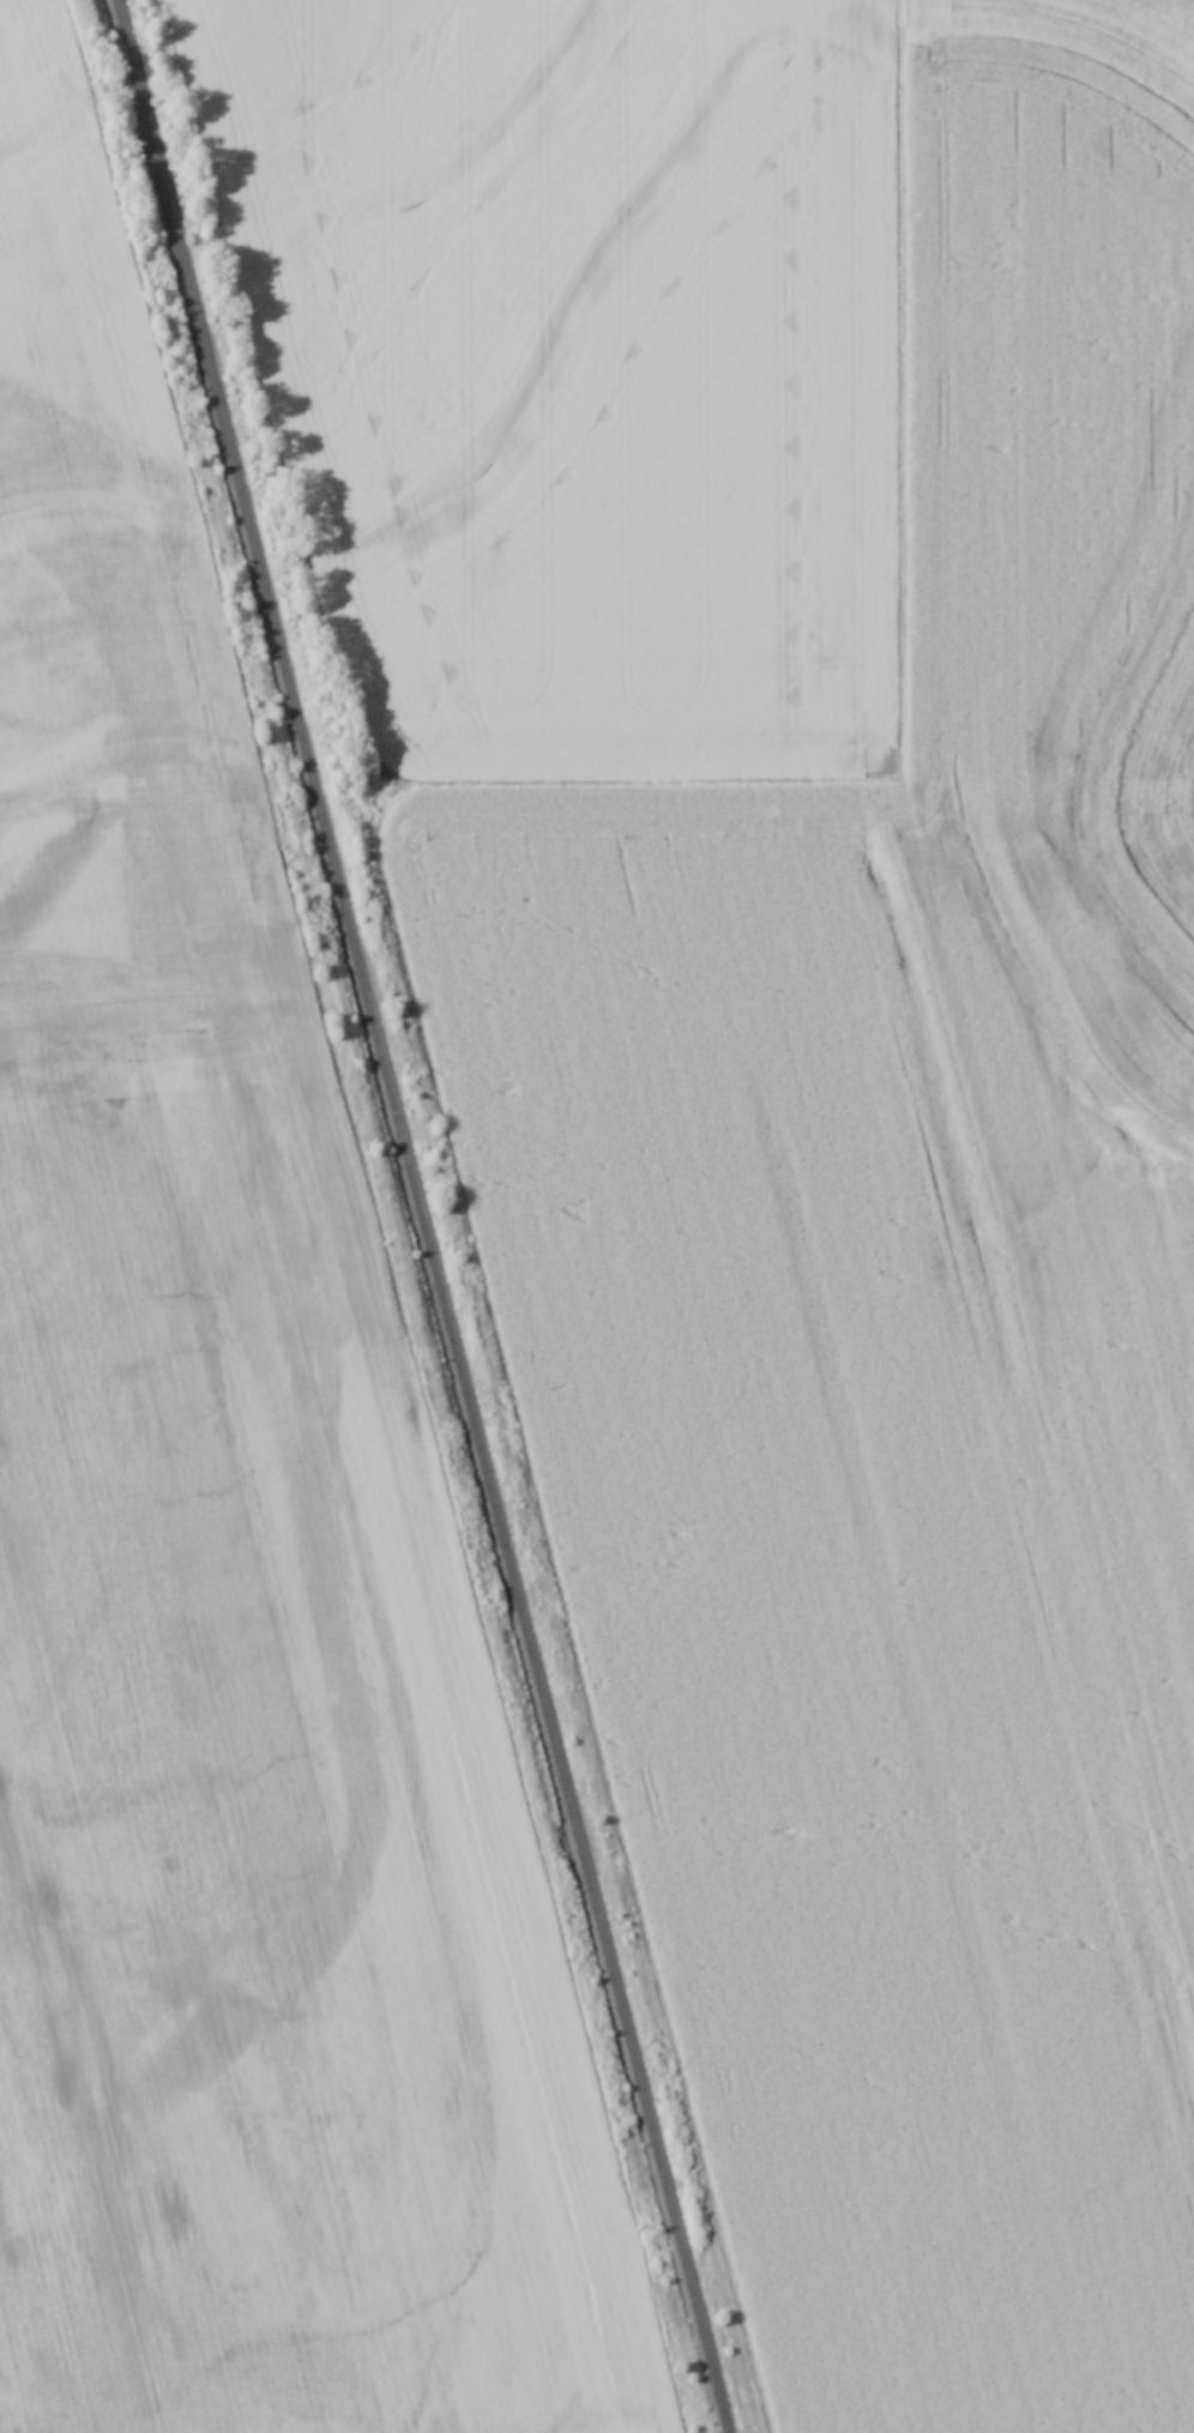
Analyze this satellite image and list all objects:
railway: (421, 1215)

